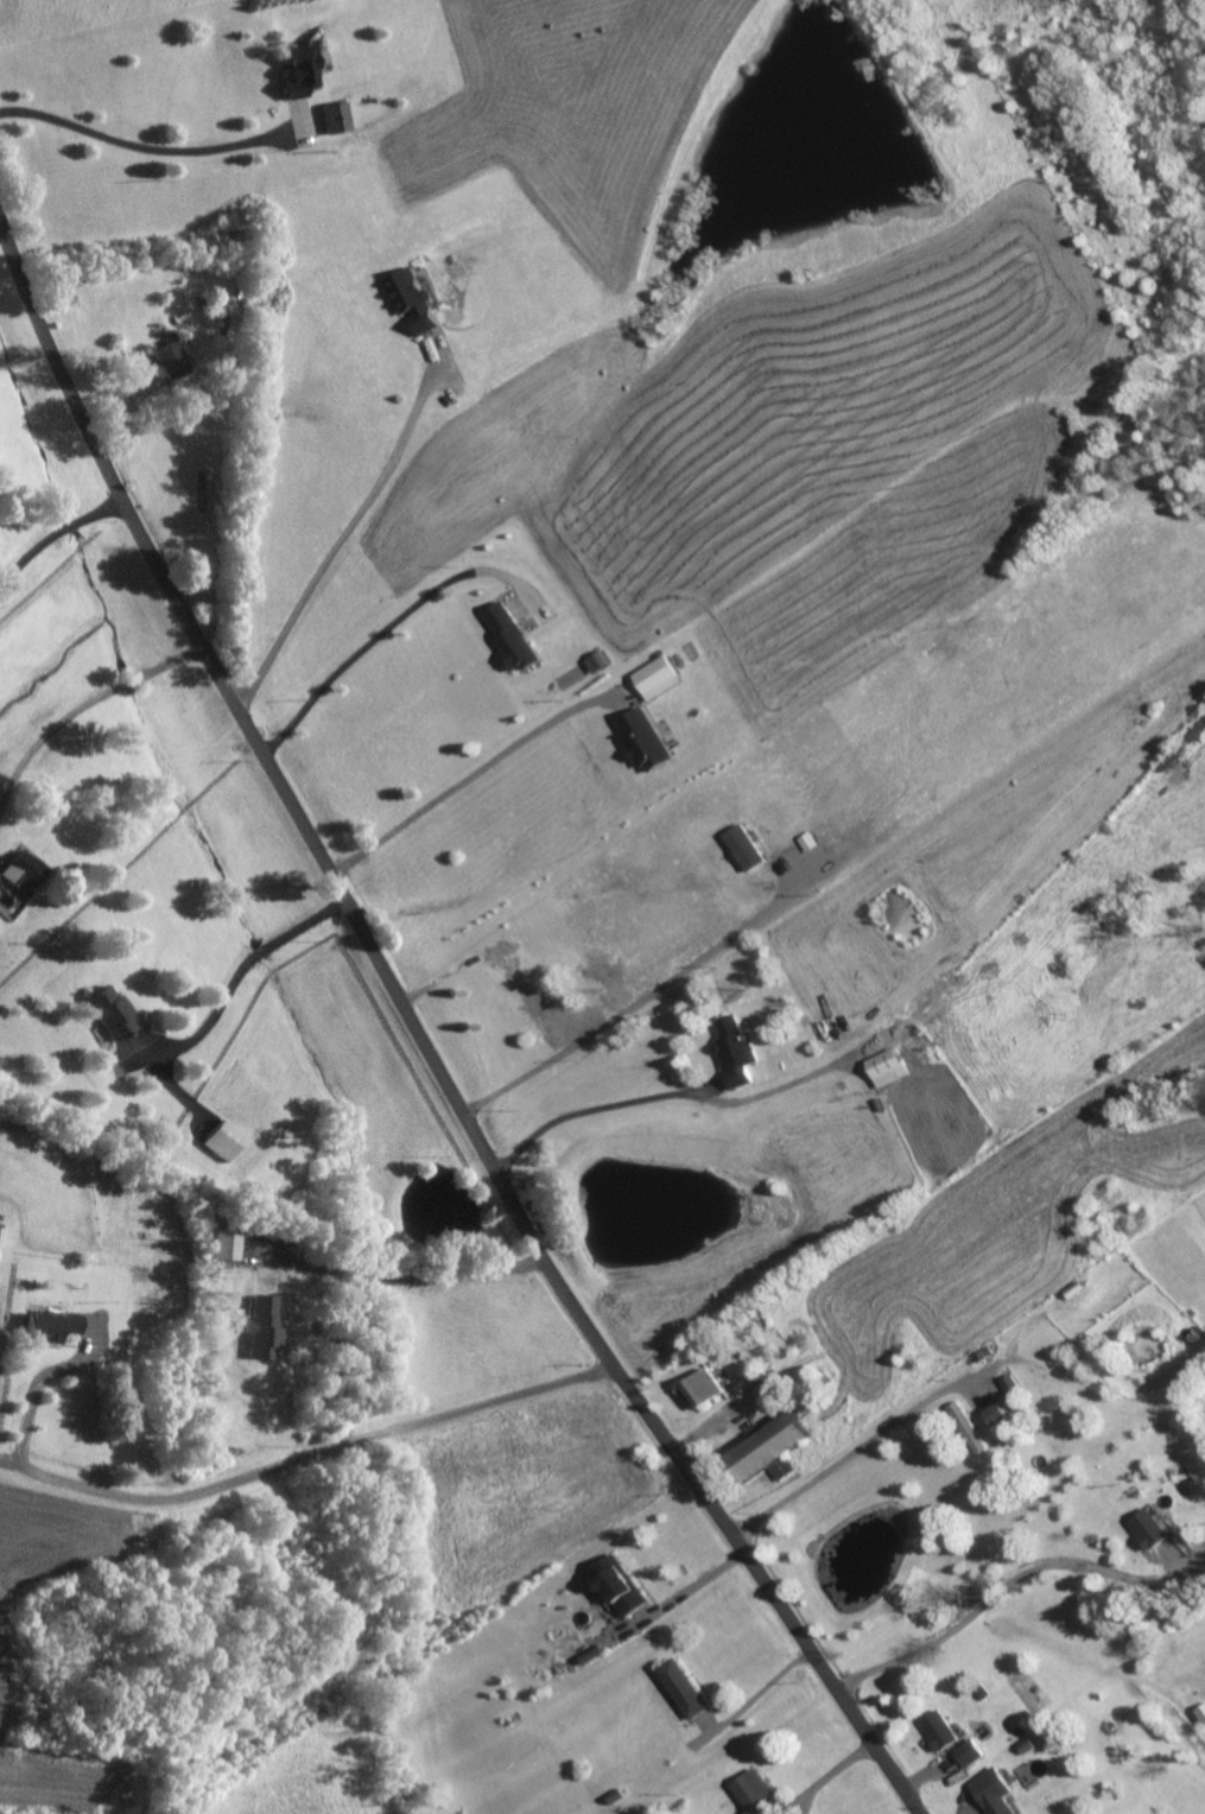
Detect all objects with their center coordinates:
building: (297, 70)
building: (335, 116)
road: (138, 150)
building: (411, 298)
building: (167, 359)
road: (56, 538)
road: (340, 553)
building: (508, 636)
road: (369, 645)
building: (654, 678)
road: (82, 708)
building: (1201, 723)
building: (642, 738)
road: (476, 770)
building: (741, 846)
building: (20, 869)
road: (306, 925)
road: (260, 953)
road: (643, 997)
building: (106, 1011)
road: (211, 1017)
building: (569, 1027)
road: (419, 1036)
building: (734, 1051)
building: (883, 1068)
road: (591, 1111)
building: (222, 1141)
building: (222, 1244)
road: (404, 1279)
building: (49, 1325)
building: (256, 1326)
road: (38, 1385)
building: (699, 1388)
building: (997, 1413)
building: (761, 1450)
road: (845, 1457)
road: (306, 1458)
building: (1147, 1529)
road: (695, 1585)
building: (615, 1586)
road: (1000, 1591)
road: (624, 1629)
building: (679, 1687)
road: (759, 1692)
building: (938, 1729)
building: (969, 1752)
road: (843, 1763)
building: (749, 1788)
building: (992, 1791)
road: (808, 1799)
road: (797, 1800)

